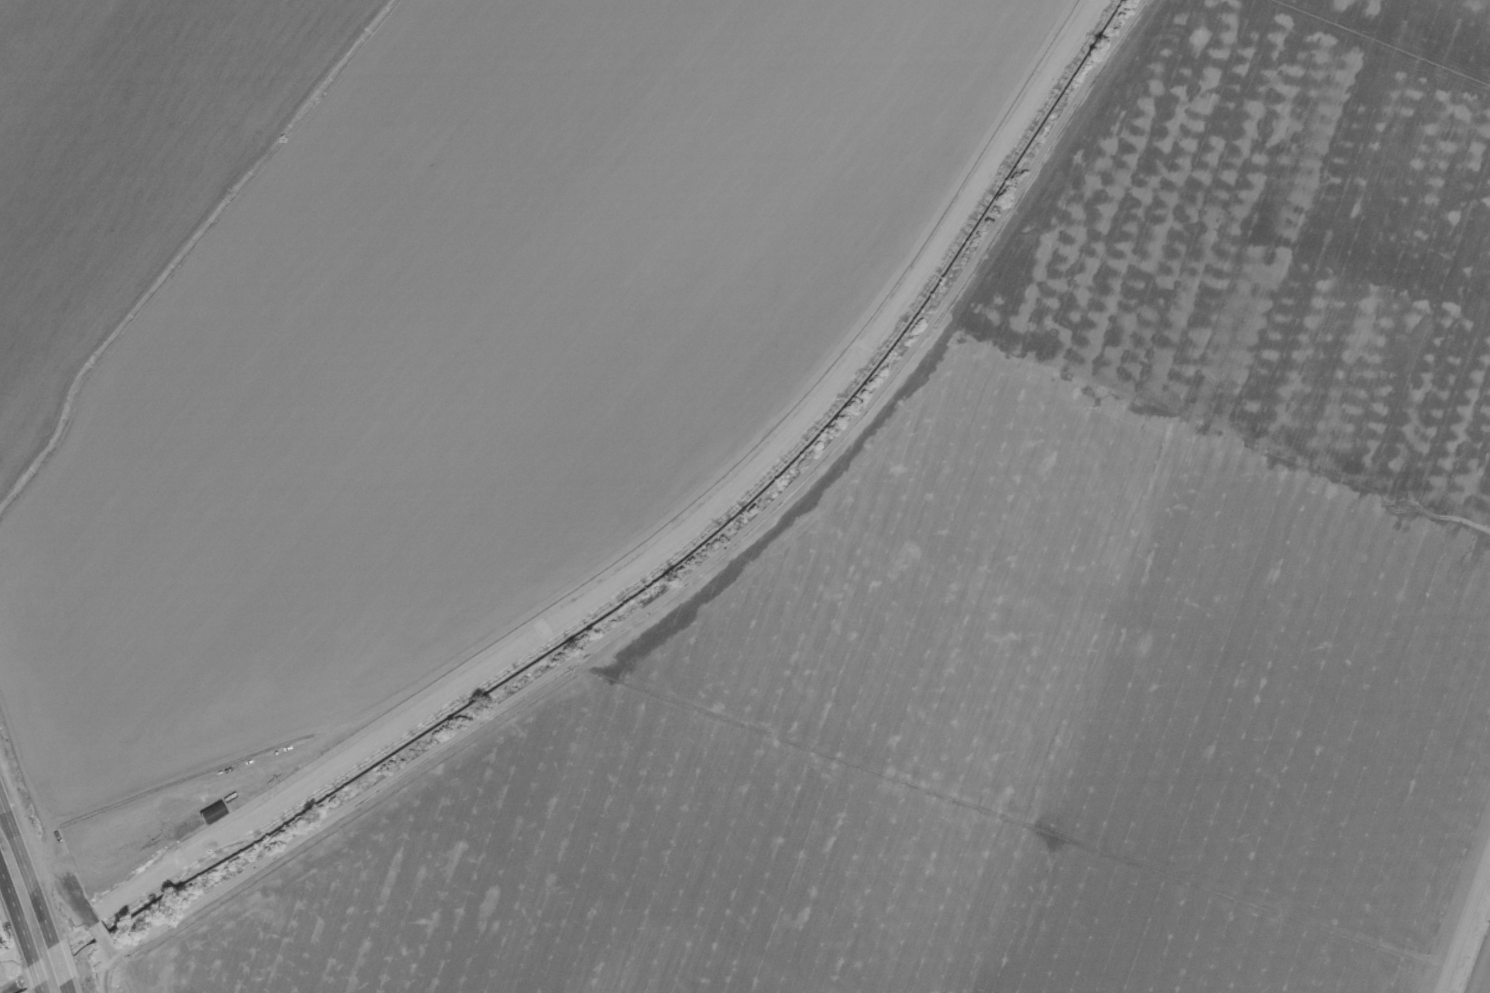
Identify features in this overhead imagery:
road: (1377, 46)
road: (1268, 235)
road: (905, 371)
road: (1207, 429)
crop: (755, 490)
road: (706, 561)
road: (1140, 633)
road: (29, 765)
building: (212, 812)
road: (352, 817)
road: (1013, 822)
road: (30, 860)
road: (15, 879)
road: (72, 890)
road: (609, 902)
road: (1465, 926)
road: (44, 930)
road: (99, 933)
road: (26, 941)
road: (119, 959)
road: (58, 962)
road: (116, 965)
road: (103, 973)
road: (36, 975)
road: (66, 986)
road: (42, 992)

